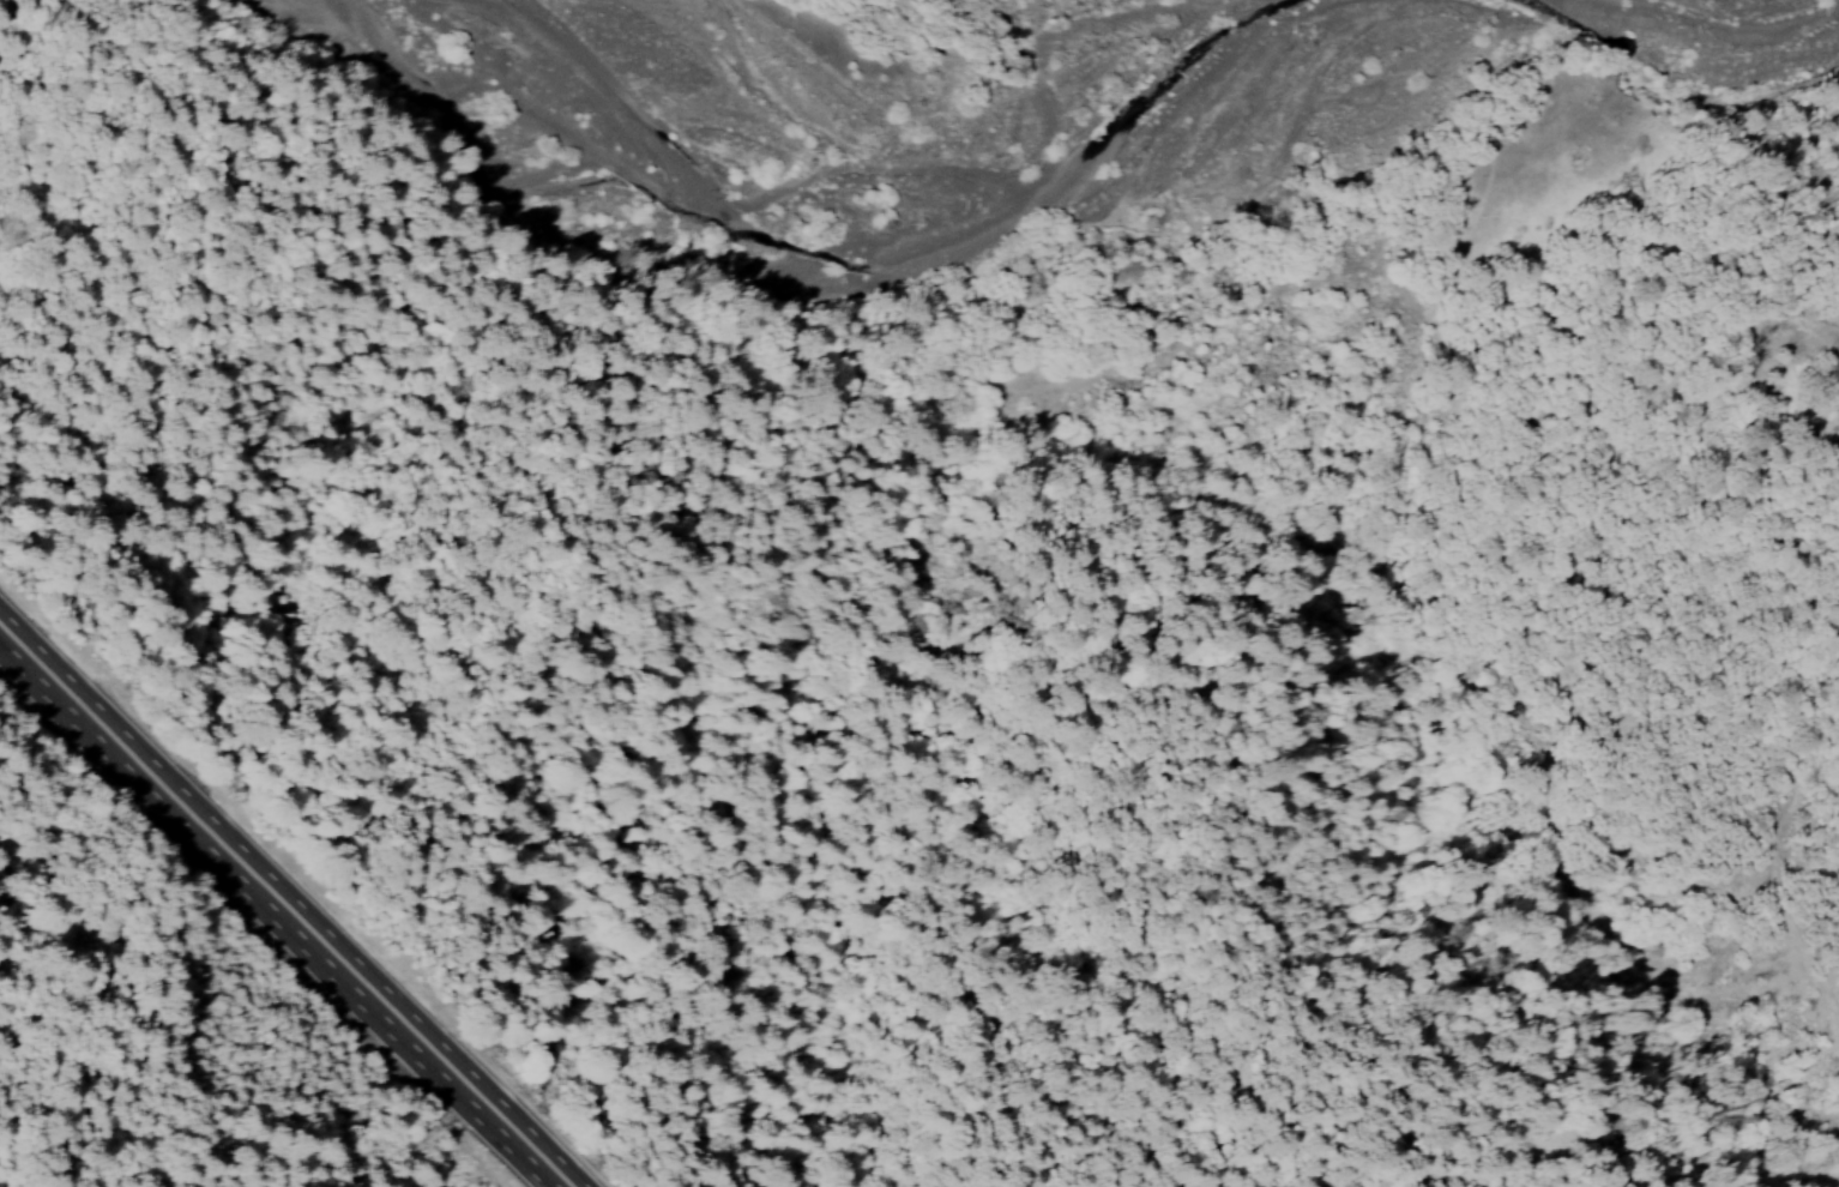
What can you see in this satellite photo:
road: (284, 906)

